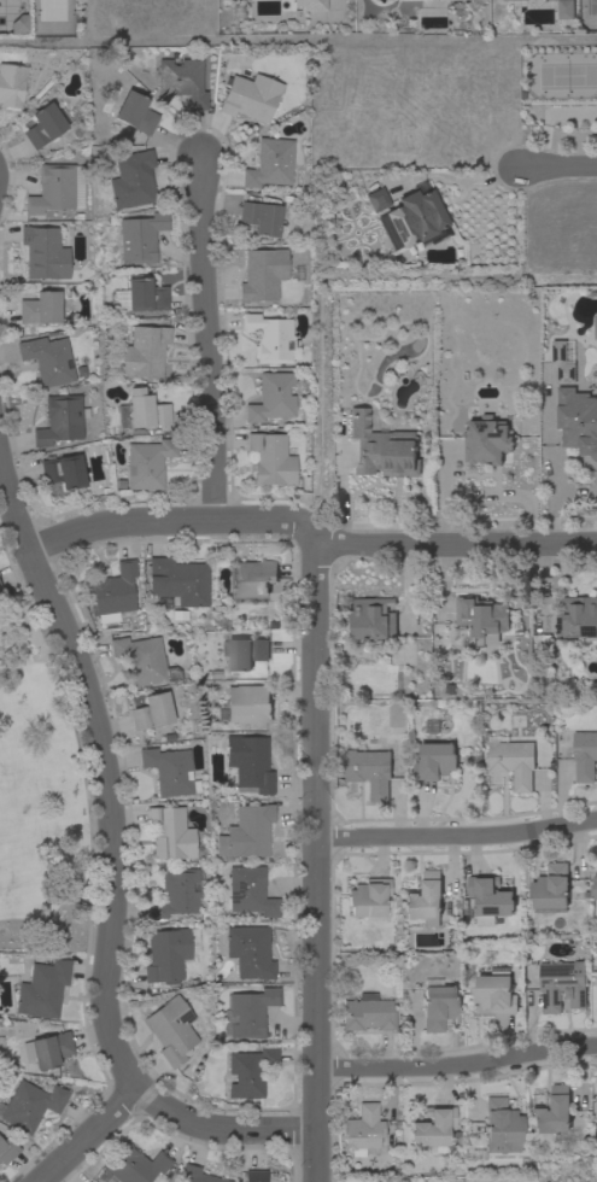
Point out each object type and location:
building: (515, 0)
building: (310, 5)
building: (564, 10)
building: (181, 81)
building: (11, 84)
building: (250, 96)
building: (134, 112)
building: (42, 125)
building: (269, 163)
road: (560, 166)
building: (131, 179)
building: (55, 188)
building: (376, 199)
building: (259, 217)
building: (412, 220)
building: (140, 236)
building: (43, 252)
building: (262, 274)
building: (140, 294)
building: (40, 308)
building: (595, 327)
building: (269, 338)
road: (209, 343)
building: (142, 351)
building: (47, 359)
building: (562, 361)
building: (271, 397)
building: (140, 410)
building: (59, 420)
building: (578, 420)
building: (486, 441)
building: (380, 447)
building: (270, 458)
road: (551, 461)
building: (147, 462)
building: (62, 470)
road: (312, 538)
building: (254, 578)
building: (177, 580)
building: (0, 589)
building: (111, 590)
building: (481, 618)
building: (576, 618)
building: (371, 620)
building: (244, 653)
building: (140, 659)
building: (247, 703)
building: (151, 710)
building: (584, 755)
building: (434, 762)
building: (513, 762)
building: (248, 763)
road: (98, 767)
building: (169, 771)
building: (369, 771)
park: (37, 803)
building: (246, 831)
building: (170, 832)
road: (456, 836)
road: (315, 861)
building: (550, 889)
building: (595, 889)
building: (248, 890)
building: (176, 893)
building: (368, 897)
building: (488, 899)
building: (425, 900)
building: (248, 950)
building: (169, 954)
building: (562, 985)
building: (41, 989)
building: (496, 991)
building: (438, 1003)
building: (247, 1012)
building: (367, 1012)
building: (171, 1029)
building: (46, 1049)
road: (456, 1065)
building: (247, 1072)
building: (596, 1098)
building: (30, 1104)
building: (552, 1112)
building: (501, 1127)
building: (433, 1128)
road: (220, 1130)
building: (362, 1130)
road: (87, 1134)
building: (7, 1149)
building: (134, 1164)
building: (197, 1175)
building: (253, 1175)
building: (596, 1178)

